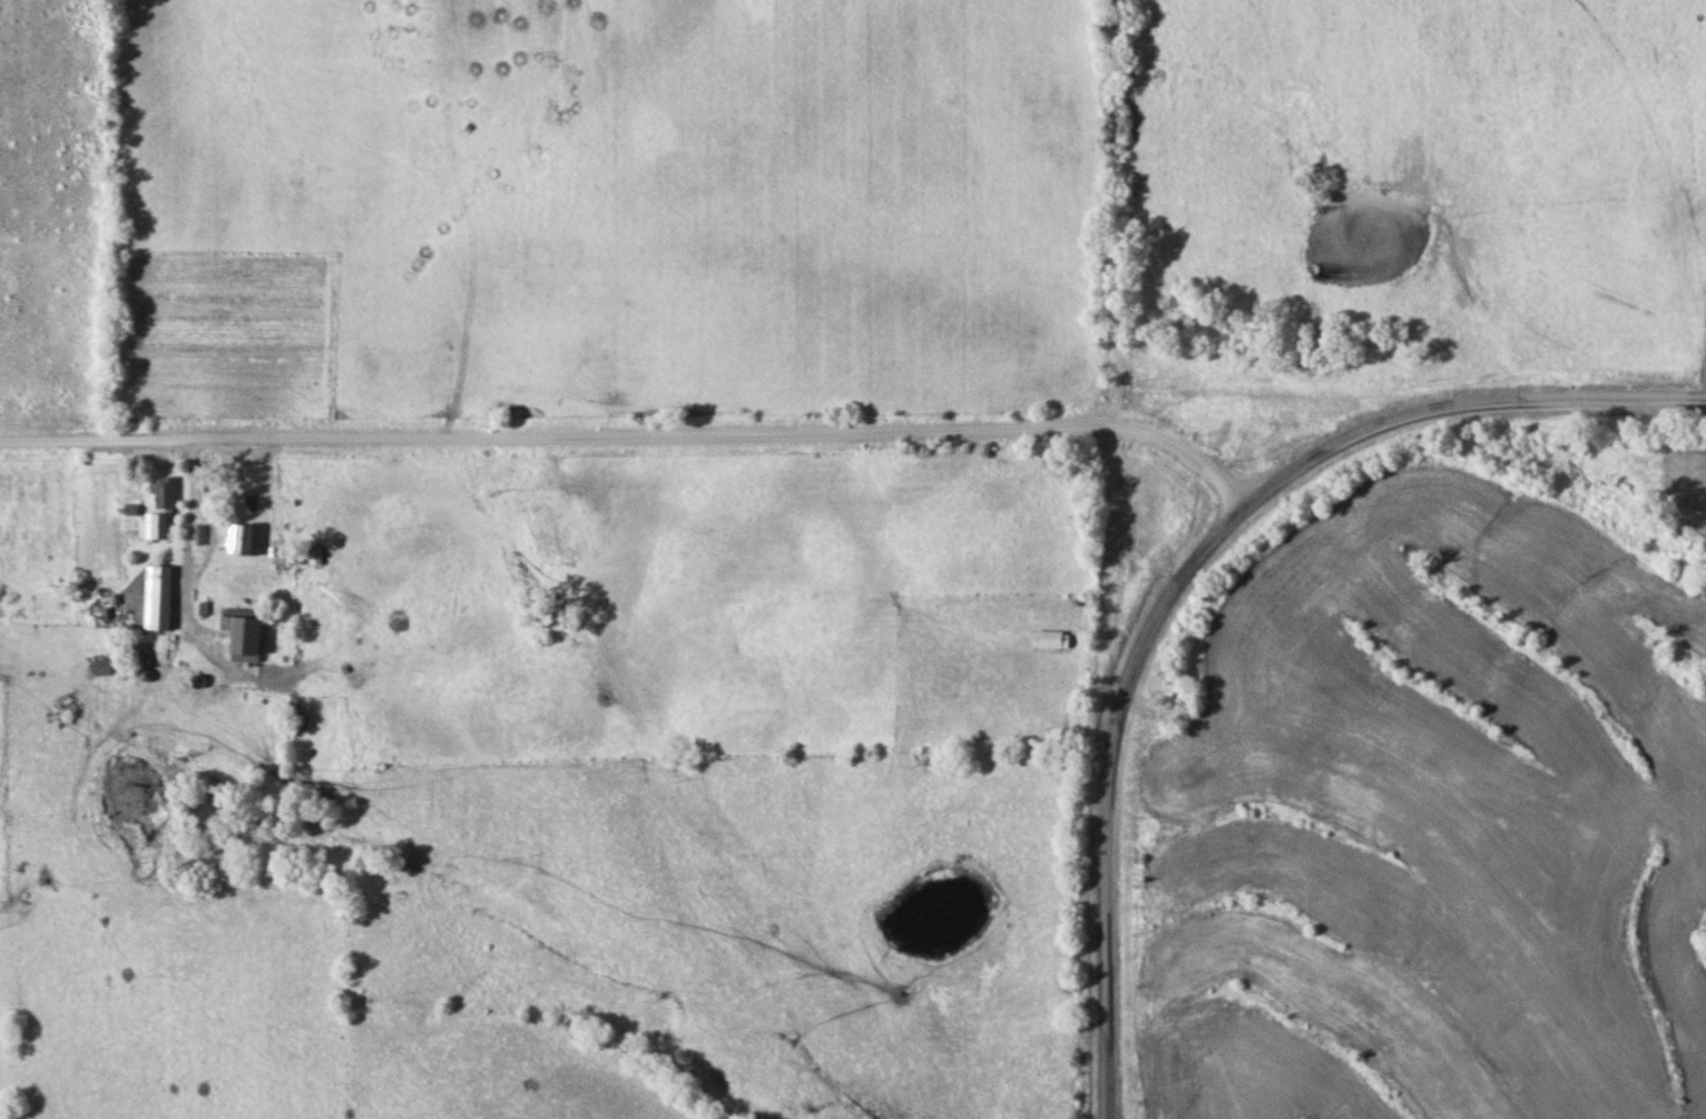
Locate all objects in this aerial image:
road: (1119, 215)
road: (1464, 405)
road: (637, 435)
building: (167, 494)
building: (159, 528)
road: (194, 530)
building: (243, 541)
building: (159, 599)
building: (244, 635)
building: (1052, 640)
road: (1110, 792)

